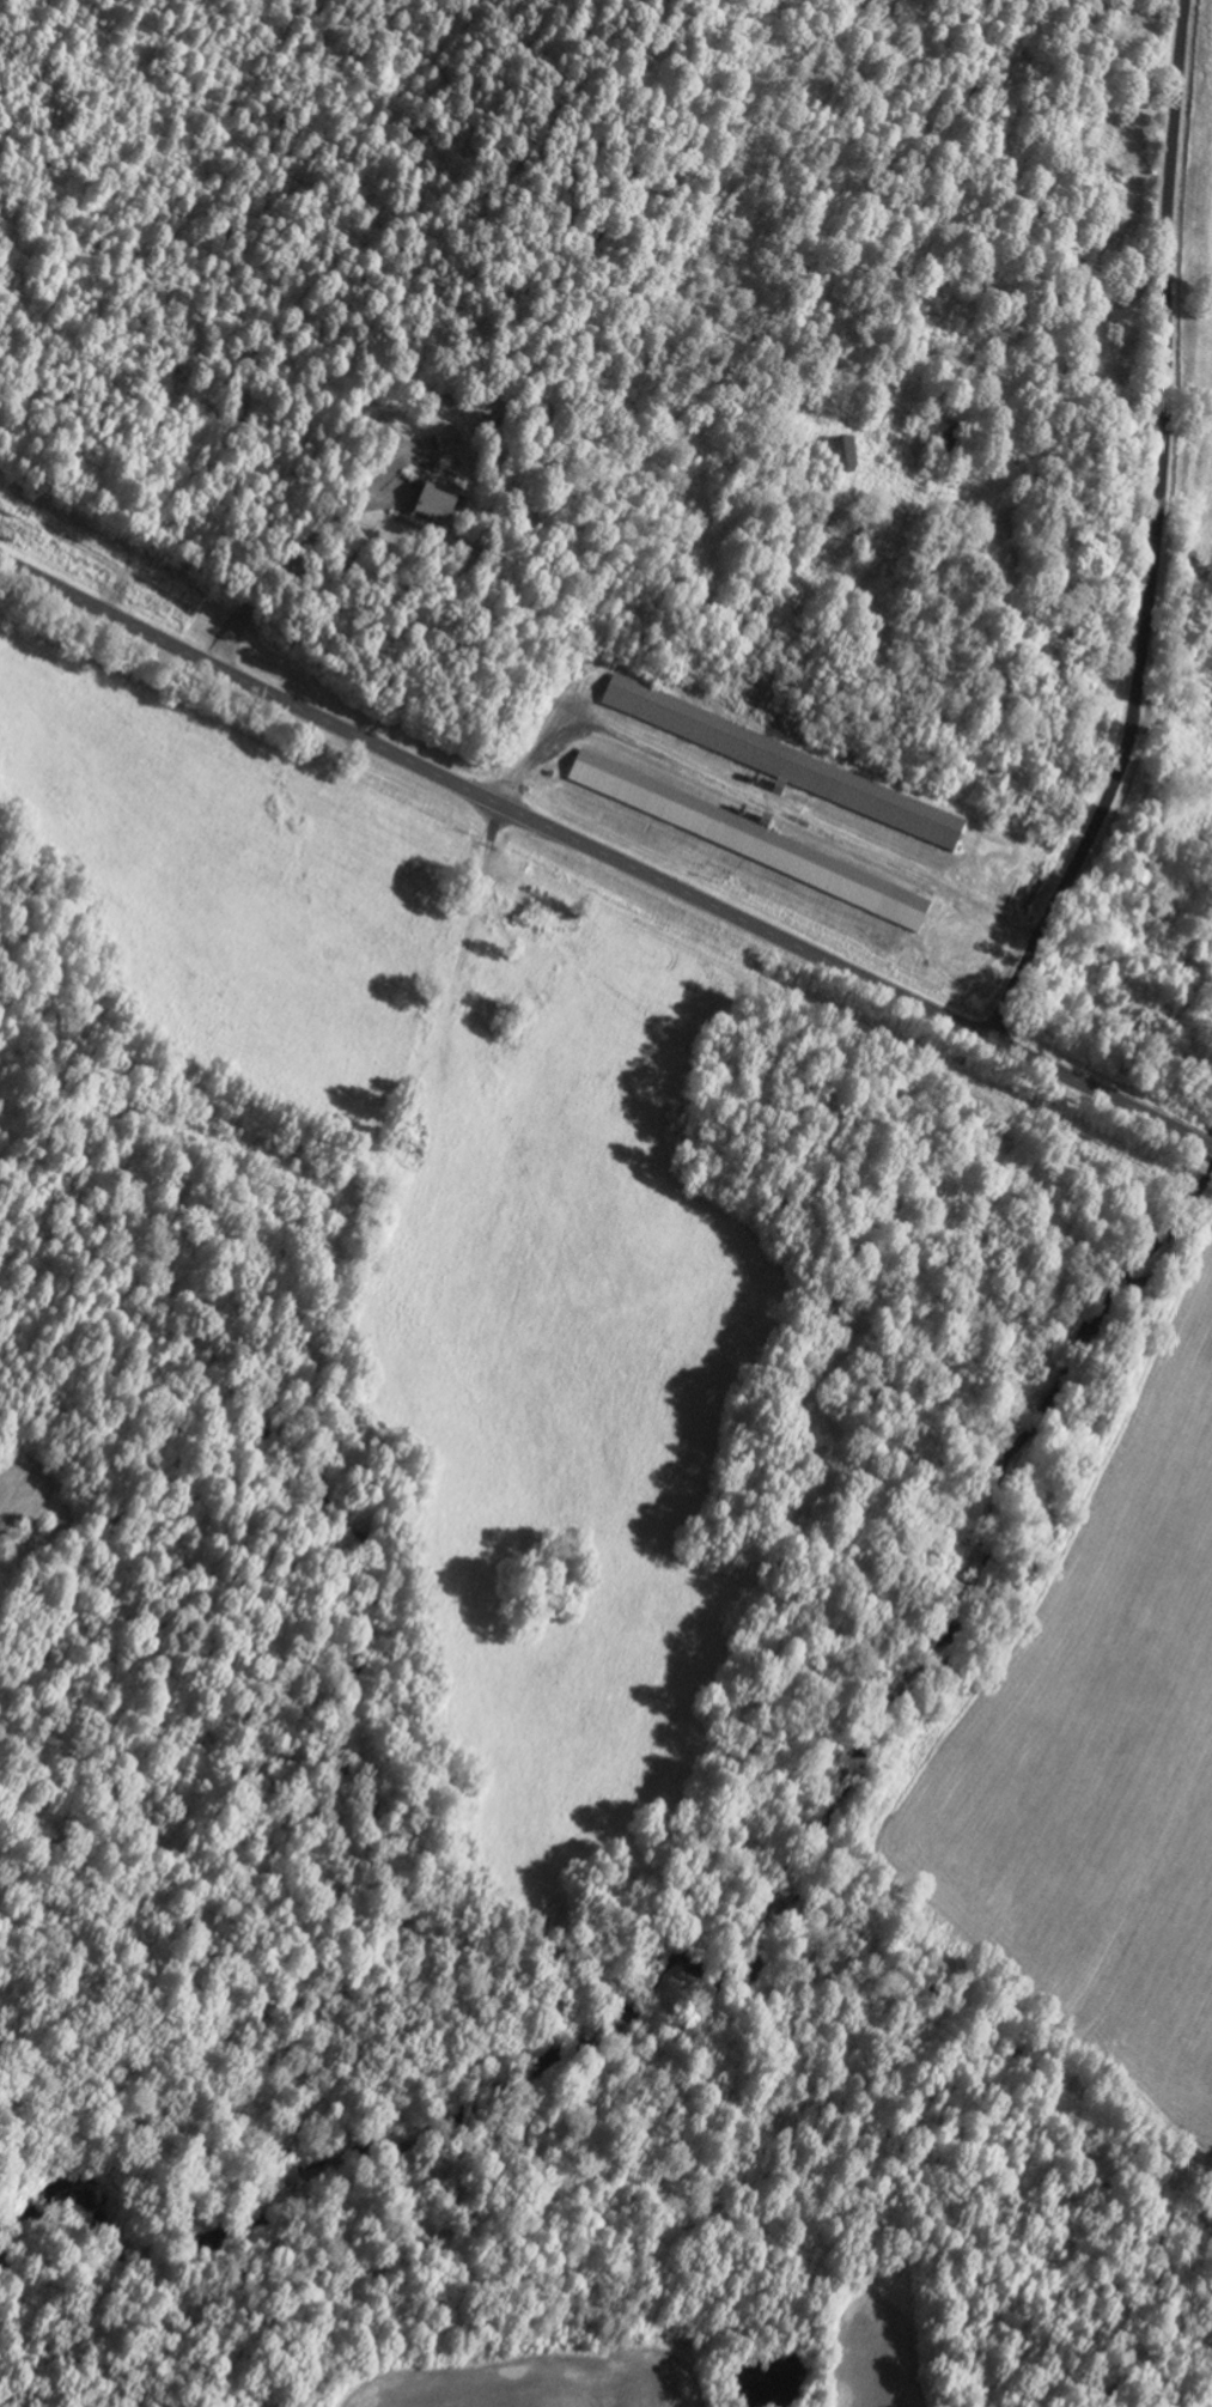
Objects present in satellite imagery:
building: (486, 430)
building: (444, 443)
building: (840, 461)
building: (434, 506)
road: (1149, 535)
building: (748, 844)
road: (604, 856)
building: (531, 904)

